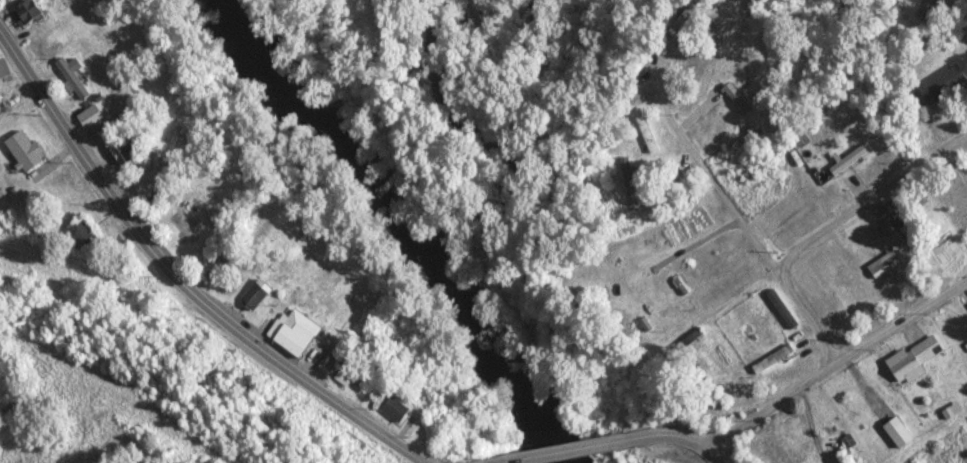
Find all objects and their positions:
building: (23, 13)
building: (3, 69)
building: (942, 85)
building: (22, 151)
road: (699, 167)
road: (826, 231)
building: (883, 265)
road: (178, 282)
building: (924, 350)
building: (768, 360)
road: (838, 363)
building: (900, 367)
road: (669, 437)
road: (558, 452)

